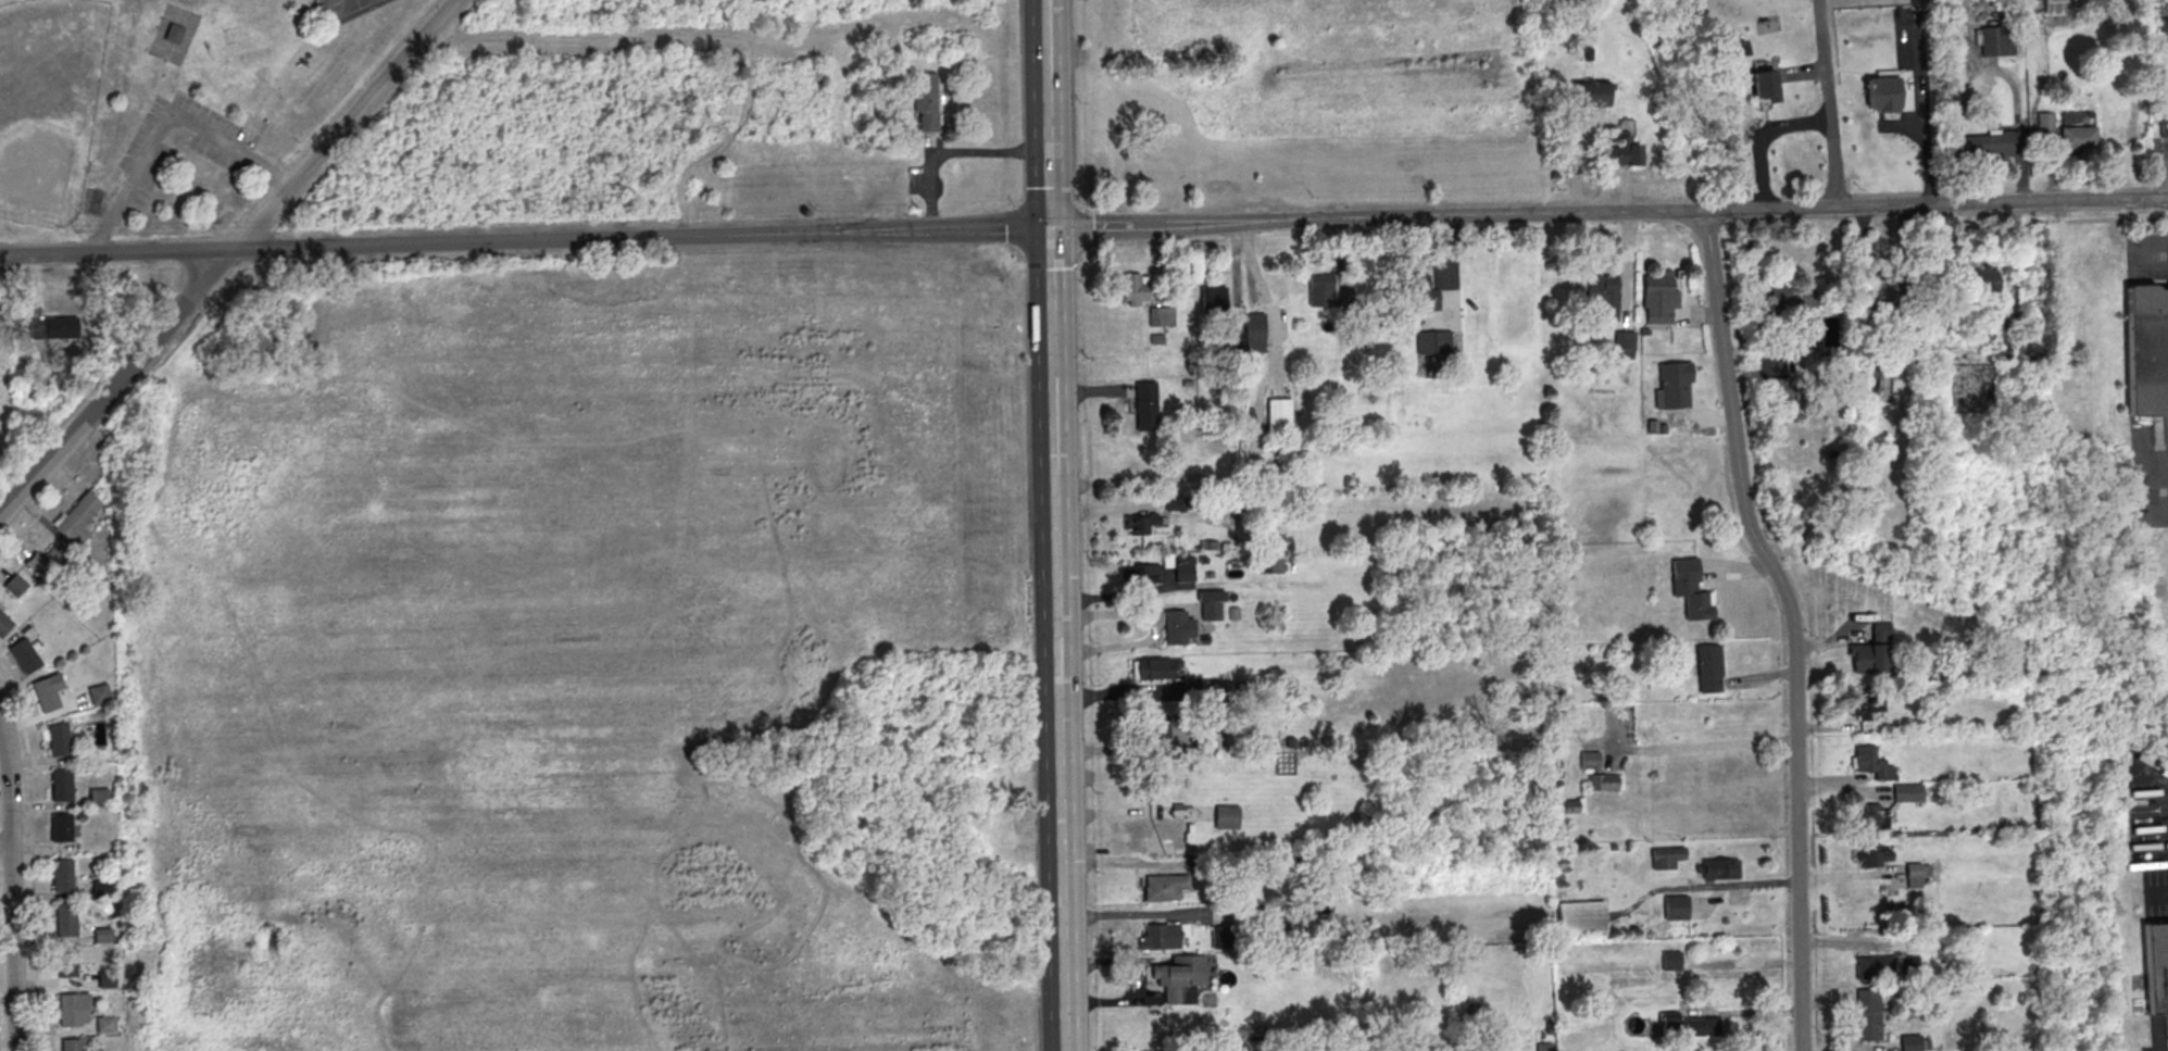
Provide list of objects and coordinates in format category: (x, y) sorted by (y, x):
building: (2072, 5)
building: (173, 33)
building: (1995, 41)
building: (1765, 85)
building: (1882, 93)
building: (1591, 95)
building: (926, 100)
road: (1829, 102)
road: (1044, 114)
building: (2044, 121)
road: (166, 123)
building: (2164, 126)
building: (2078, 137)
building: (1991, 142)
building: (1624, 151)
road: (952, 153)
road: (1952, 202)
road: (1719, 210)
road: (1374, 217)
traffic signals: (1048, 229)
road: (640, 236)
road: (116, 250)
road: (224, 254)
road: (2150, 257)
building: (1985, 278)
building: (1135, 288)
building: (1320, 290)
building: (1603, 291)
building: (1421, 292)
building: (1657, 297)
building: (1213, 300)
building: (1794, 300)
building: (1162, 316)
building: (53, 327)
building: (1362, 331)
building: (1254, 334)
building: (1235, 339)
building: (1432, 342)
building: (1625, 343)
building: (2147, 348)
building: (1675, 384)
building: (1779, 389)
building: (1145, 405)
building: (1279, 414)
road: (49, 503)
building: (1175, 503)
road: (2158, 512)
building: (77, 516)
building: (1140, 523)
building: (43, 559)
road: (1734, 568)
building: (1183, 573)
building: (1139, 574)
building: (15, 584)
building: (1690, 589)
road: (1167, 606)
building: (1211, 611)
building: (4, 624)
road: (1793, 624)
building: (1177, 627)
road: (1153, 628)
road: (1054, 639)
building: (1871, 651)
building: (24, 655)
building: (1708, 668)
building: (1154, 670)
road: (1757, 677)
building: (1221, 690)
building: (47, 692)
building: (99, 692)
road: (1133, 693)
building: (1865, 706)
road: (21, 720)
building: (1153, 727)
building: (58, 739)
road: (1697, 747)
road: (1132, 748)
building: (1872, 763)
building: (1596, 772)
building: (61, 785)
building: (1907, 792)
building: (98, 798)
building: (1568, 805)
road: (1136, 812)
building: (1226, 816)
building: (1876, 816)
building: (61, 827)
building: (1170, 833)
road: (5, 850)
building: (1873, 855)
building: (1666, 856)
building: (1720, 868)
building: (62, 875)
building: (1913, 875)
road: (1852, 876)
road: (12, 884)
building: (1166, 887)
road: (1697, 887)
building: (101, 888)
building: (1676, 908)
road: (33, 910)
road: (1143, 914)
building: (1581, 917)
building: (65, 919)
building: (102, 934)
building: (1160, 937)
building: (1224, 937)
building: (1671, 960)
building: (66, 964)
building: (1908, 966)
building: (2157, 966)
building: (1875, 967)
building: (1180, 978)
building: (105, 980)
road: (1113, 1001)
building: (73, 1009)
road: (1739, 1012)
building: (1868, 1015)
building: (105, 1024)
building: (1688, 1026)
building: (1910, 1042)
building: (71, 1044)
building: (1544, 1047)
building: (1418, 1050)

